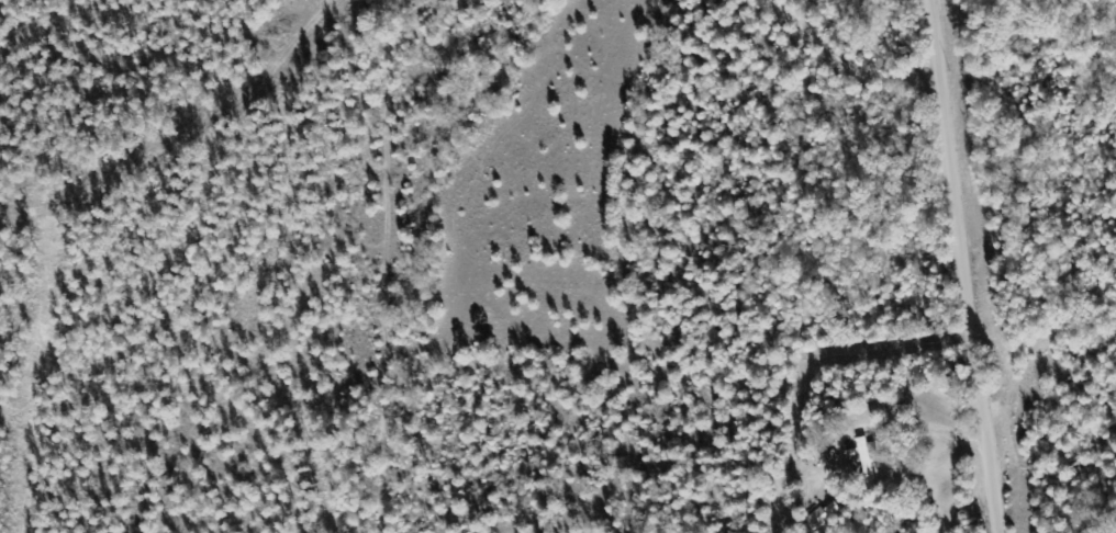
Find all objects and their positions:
road: (971, 266)
building: (870, 457)
building: (826, 514)

